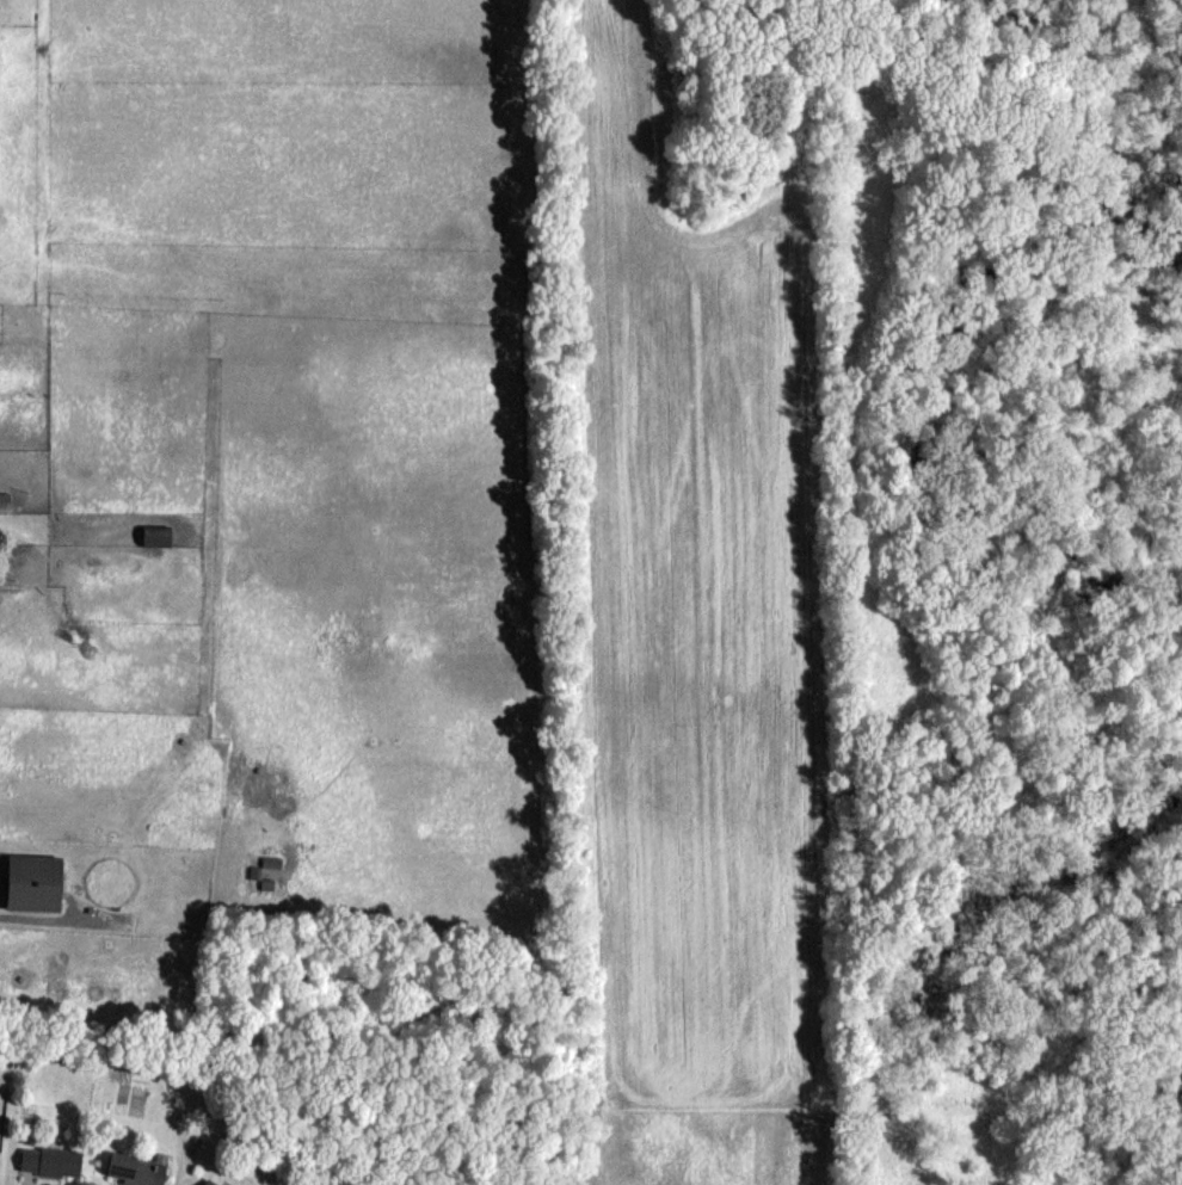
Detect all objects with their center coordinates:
building: (154, 537)
building: (33, 875)
building: (54, 1162)
building: (142, 1169)
building: (213, 1181)

